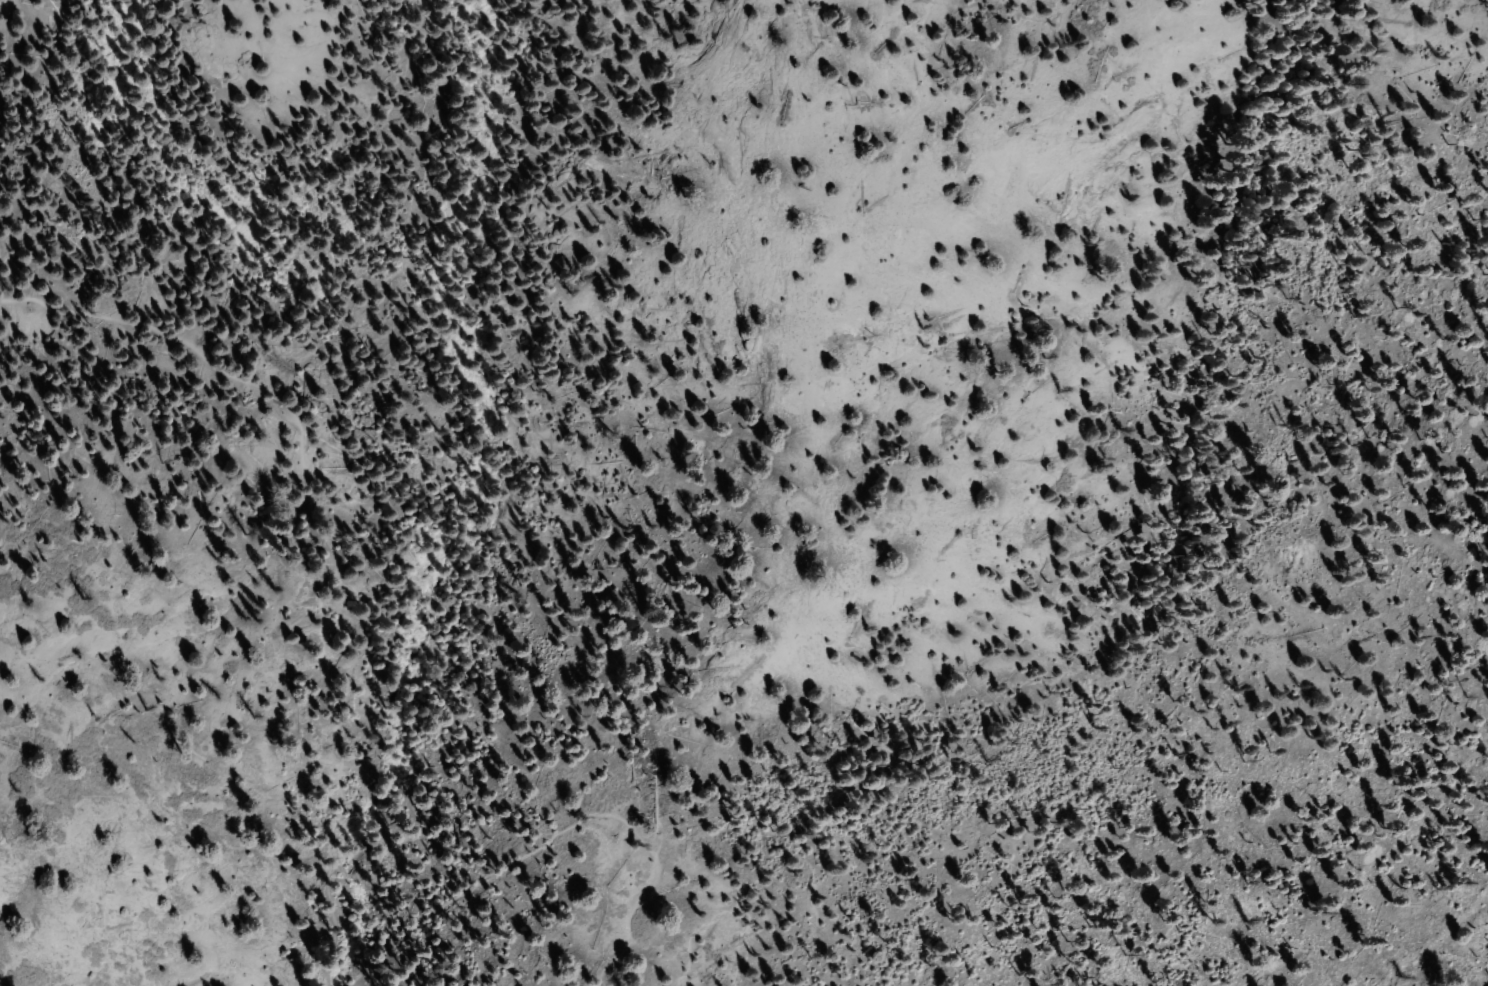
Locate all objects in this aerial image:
road: (326, 525)
road: (561, 828)

